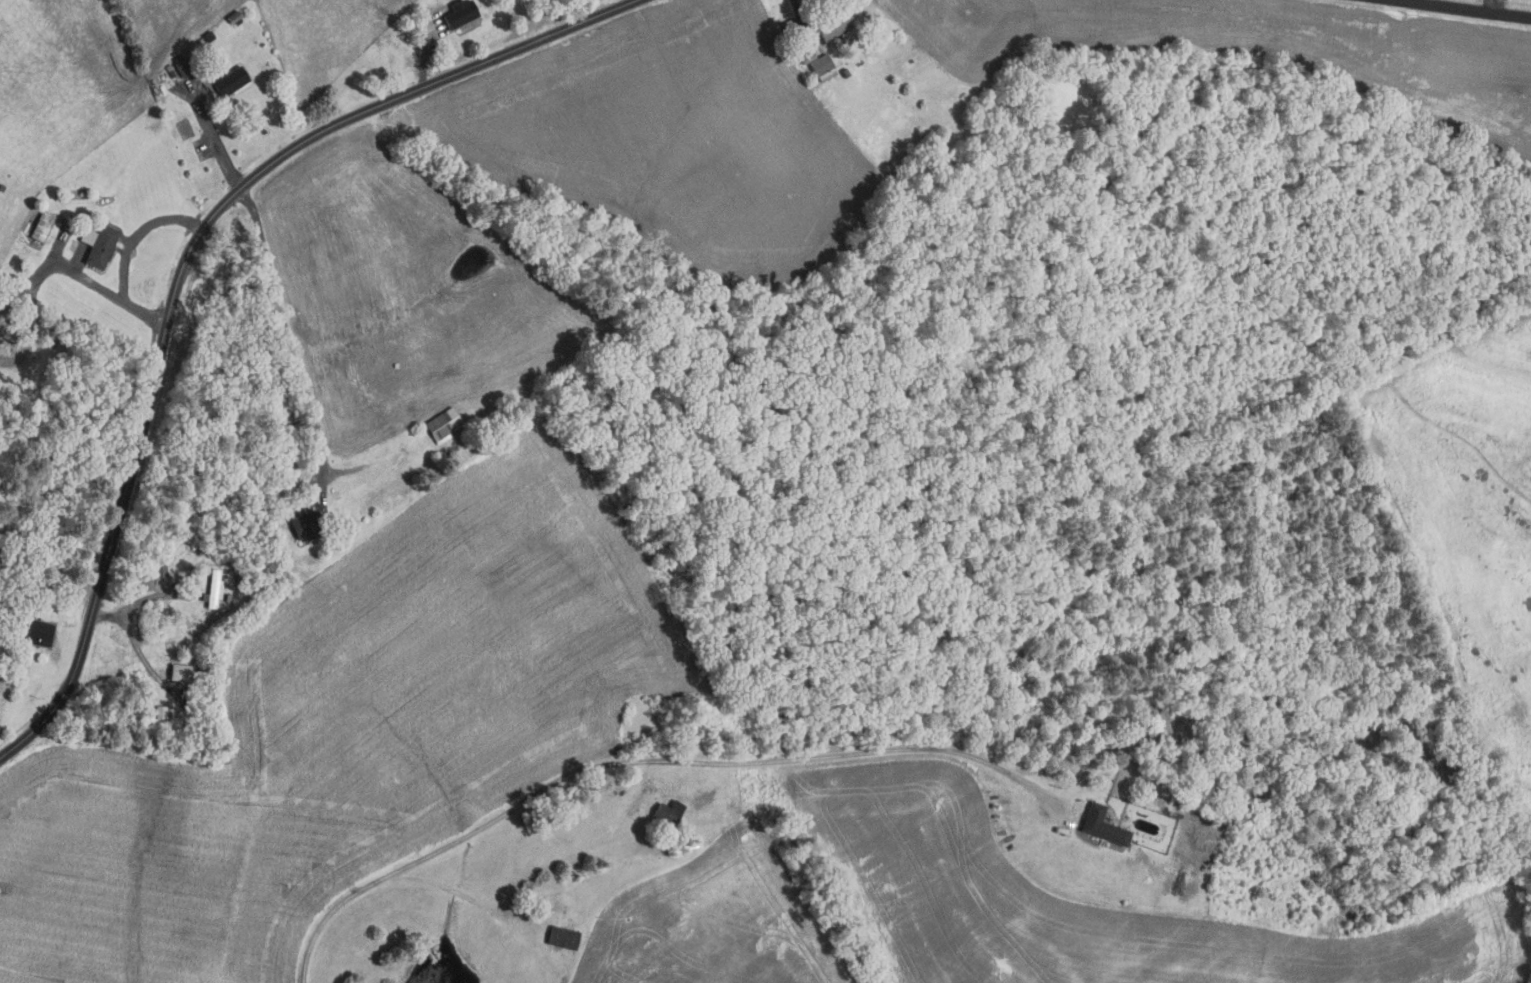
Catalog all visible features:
road: (1491, 6)
road: (1465, 8)
building: (458, 13)
road: (801, 20)
building: (787, 25)
building: (833, 26)
building: (795, 38)
road: (425, 53)
building: (820, 67)
building: (183, 70)
building: (230, 81)
road: (213, 135)
building: (40, 226)
road: (138, 233)
building: (97, 244)
building: (30, 249)
road: (182, 265)
road: (109, 292)
road: (286, 332)
building: (0, 337)
building: (442, 423)
building: (304, 524)
building: (160, 569)
building: (146, 583)
road: (61, 587)
building: (212, 587)
road: (135, 605)
building: (36, 631)
building: (180, 673)
building: (160, 712)
road: (634, 757)
building: (667, 812)
building: (1103, 827)
building: (561, 936)

